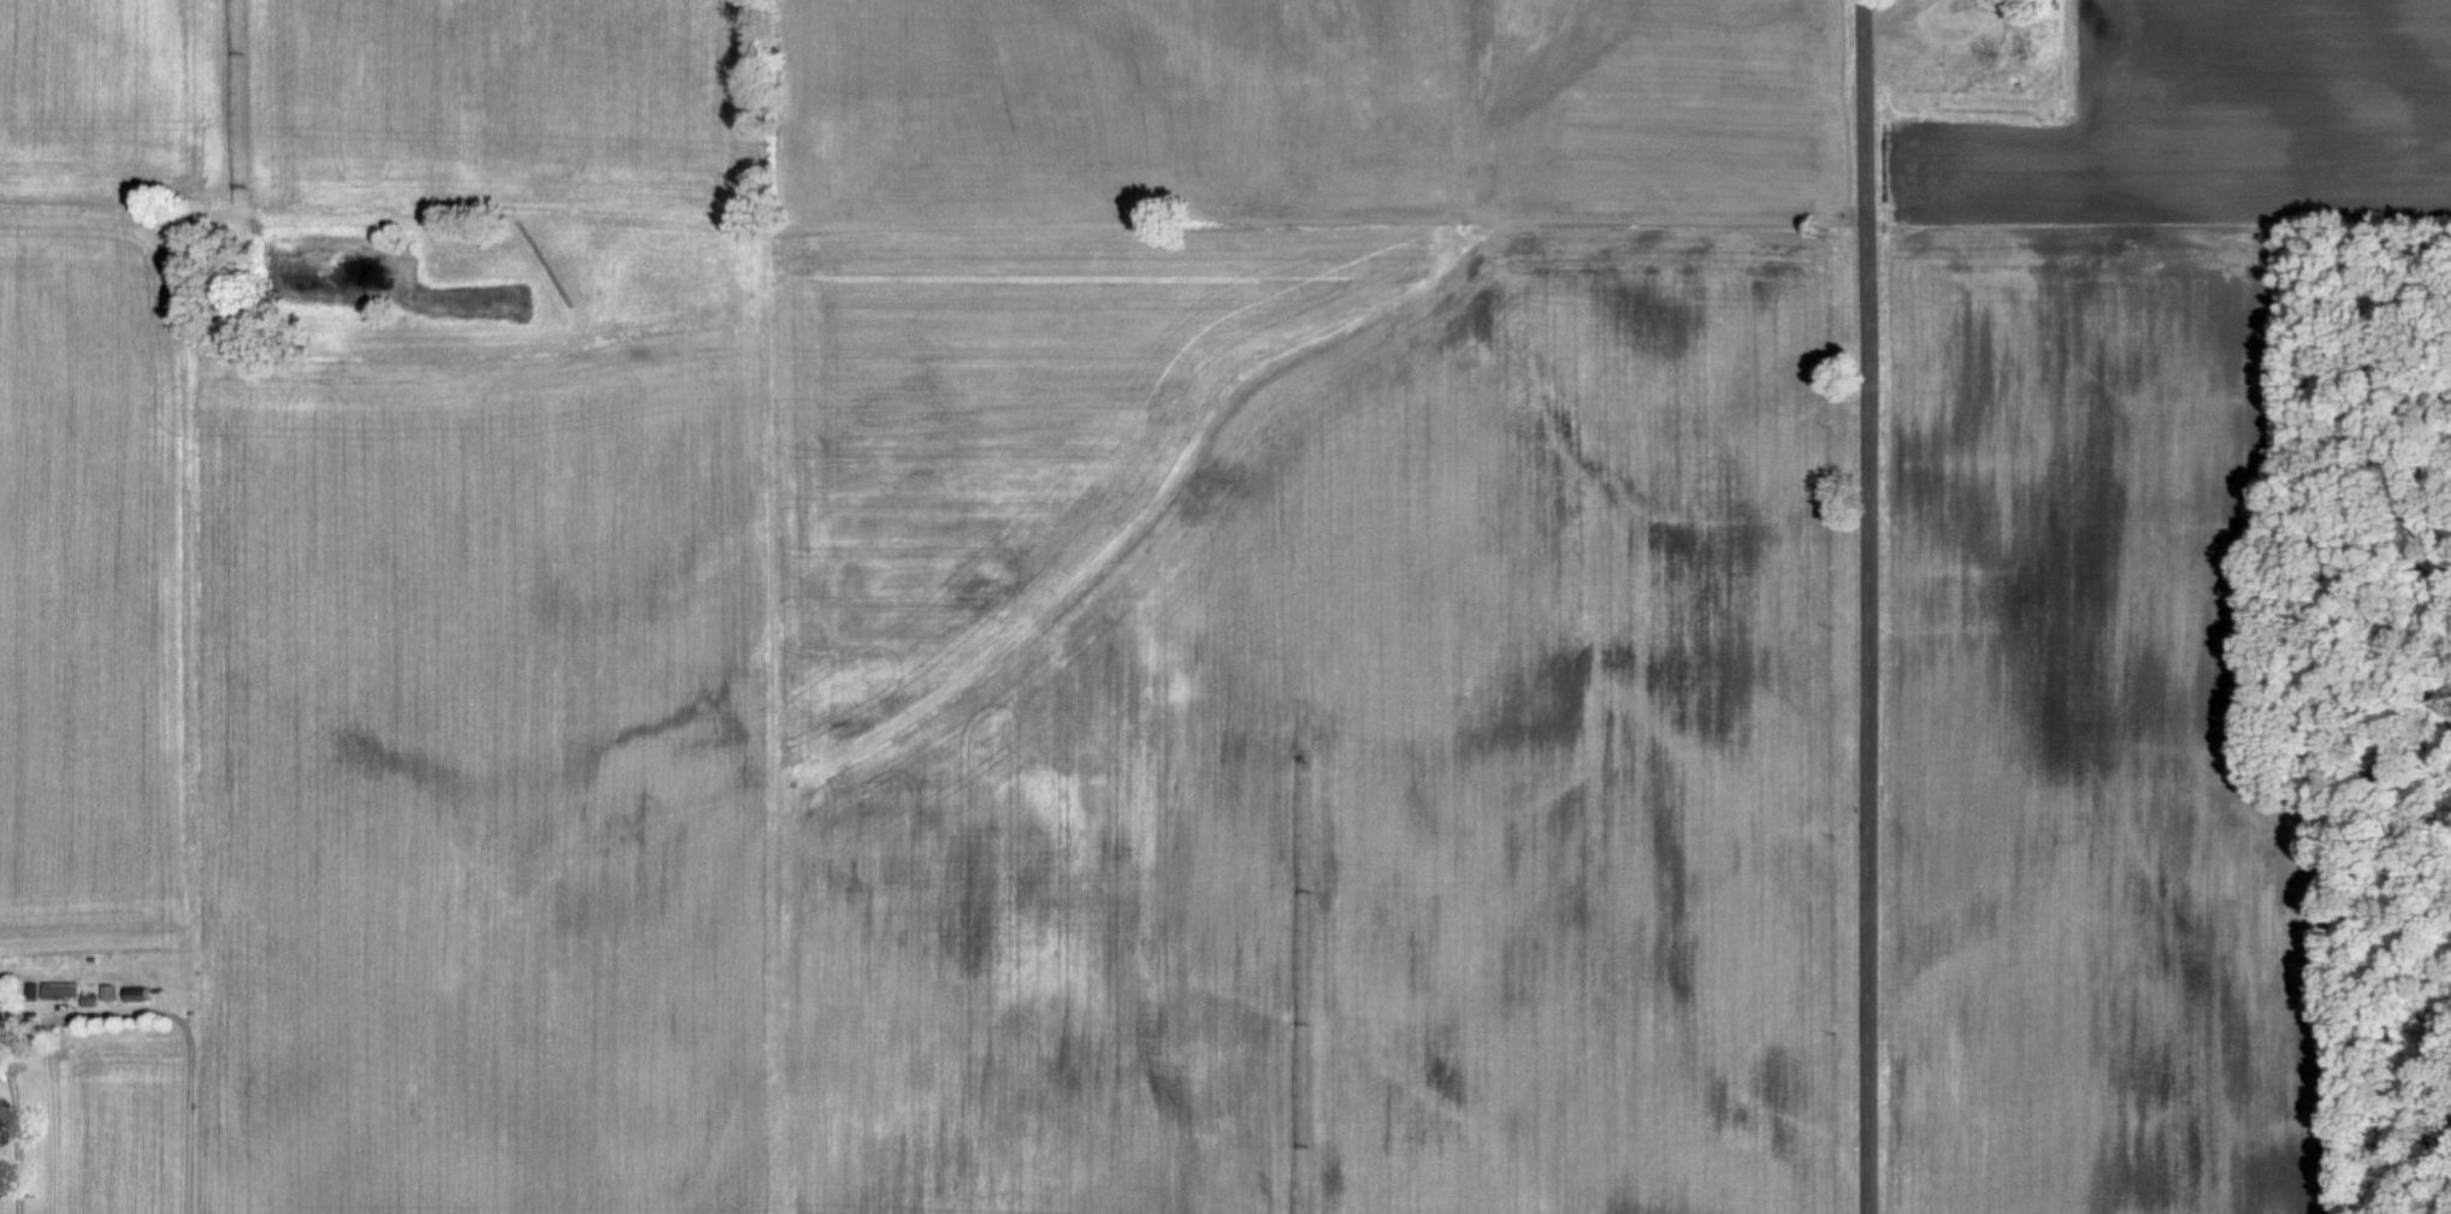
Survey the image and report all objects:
road: (1872, 606)
building: (106, 991)
building: (134, 993)
road: (114, 1008)
road: (12, 1151)

